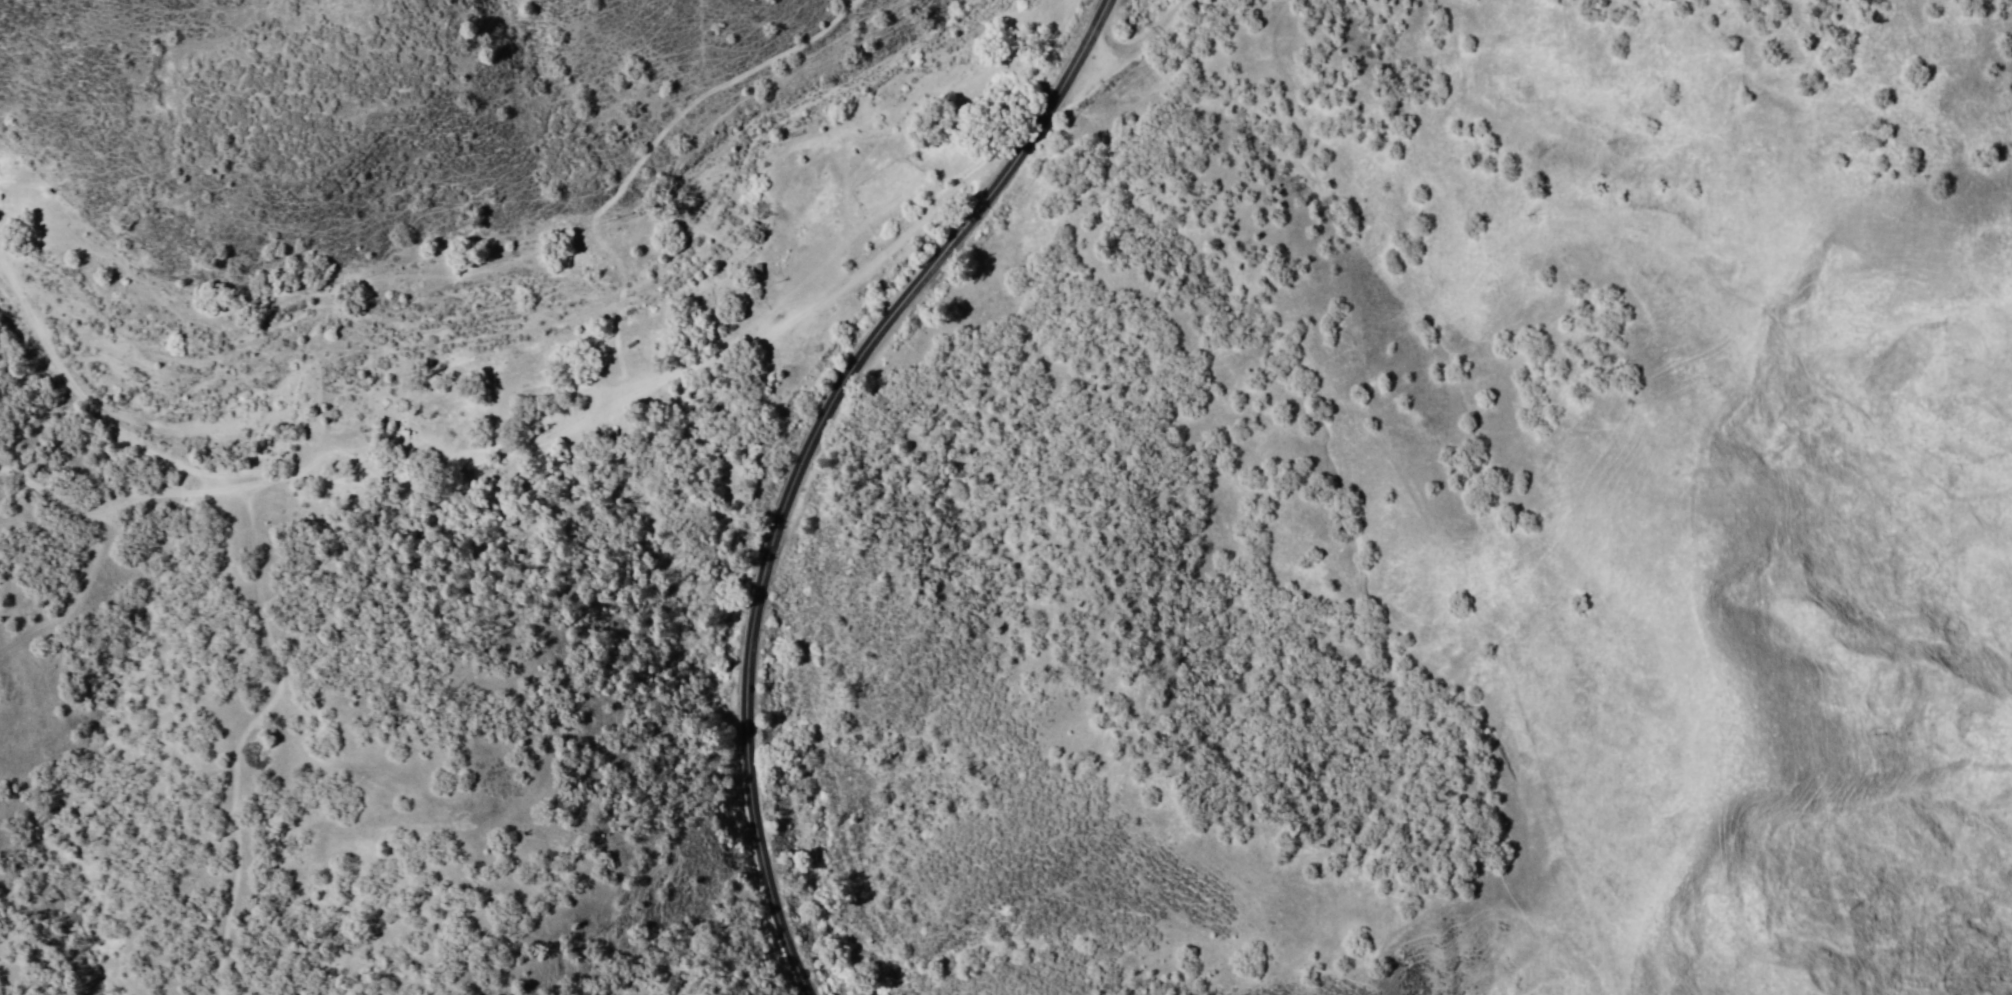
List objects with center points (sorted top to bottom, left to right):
road: (1139, 42)
building: (759, 268)
road: (802, 458)
building: (345, 461)
road: (526, 461)

